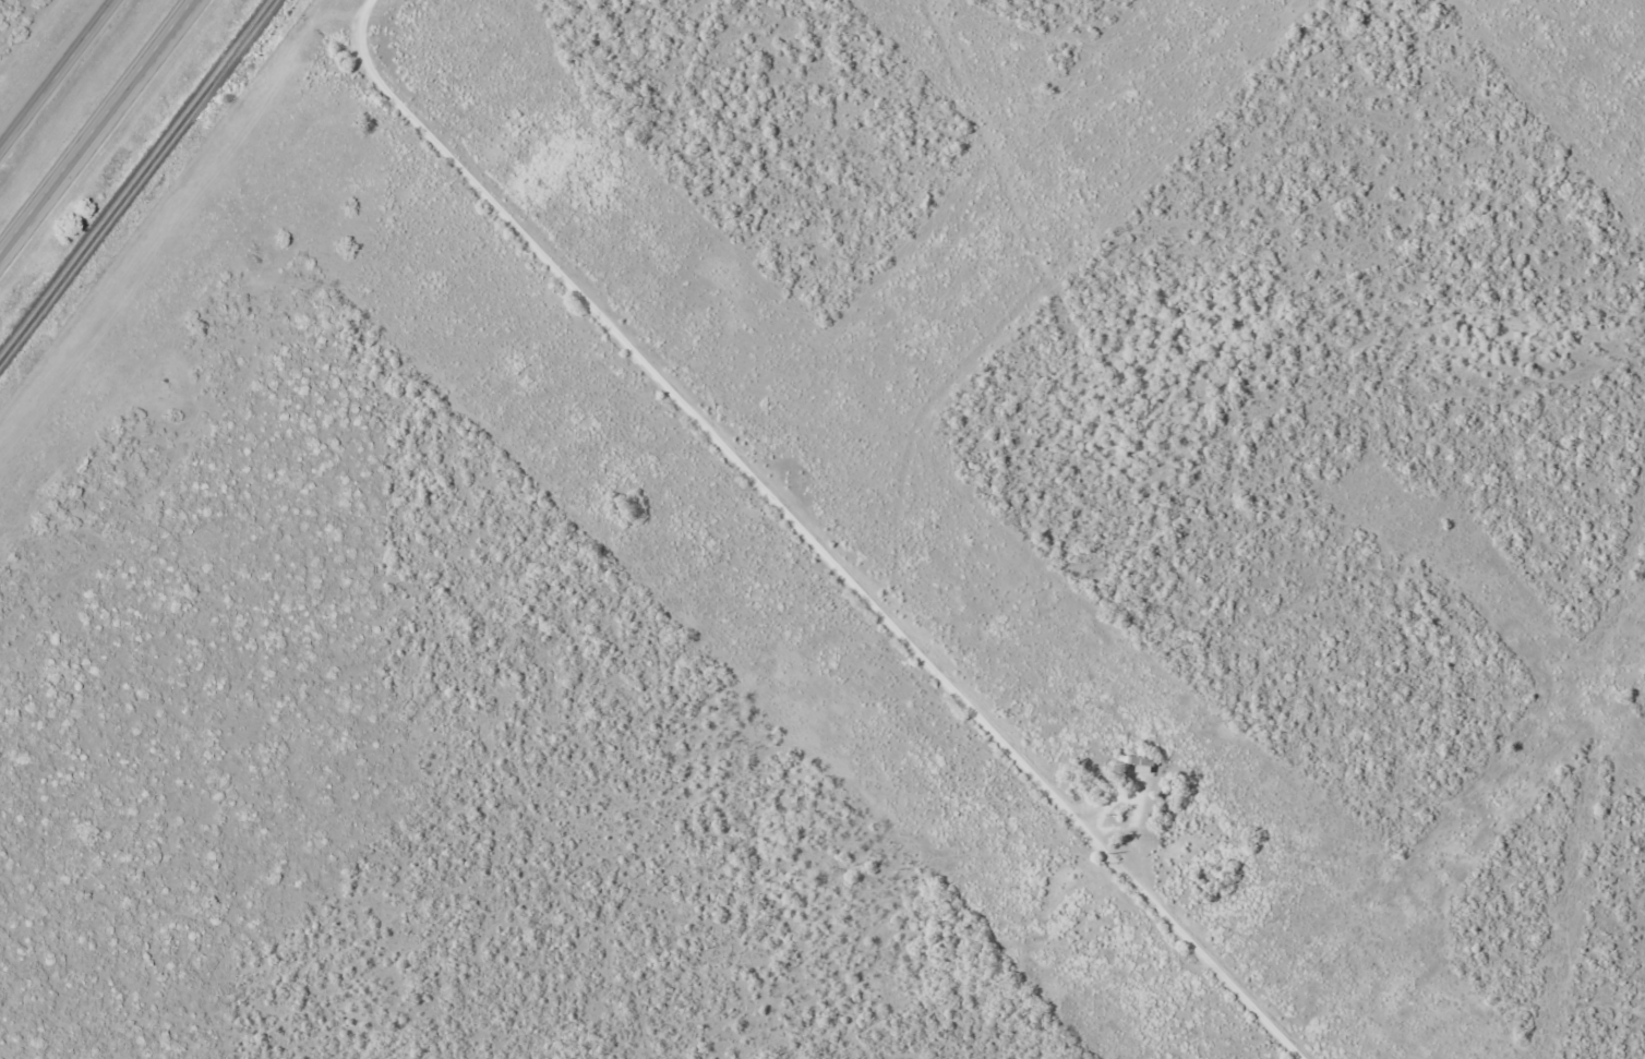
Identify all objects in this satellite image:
road: (58, 75)
road: (99, 128)
railway: (139, 182)
road: (795, 537)
building: (1138, 763)

